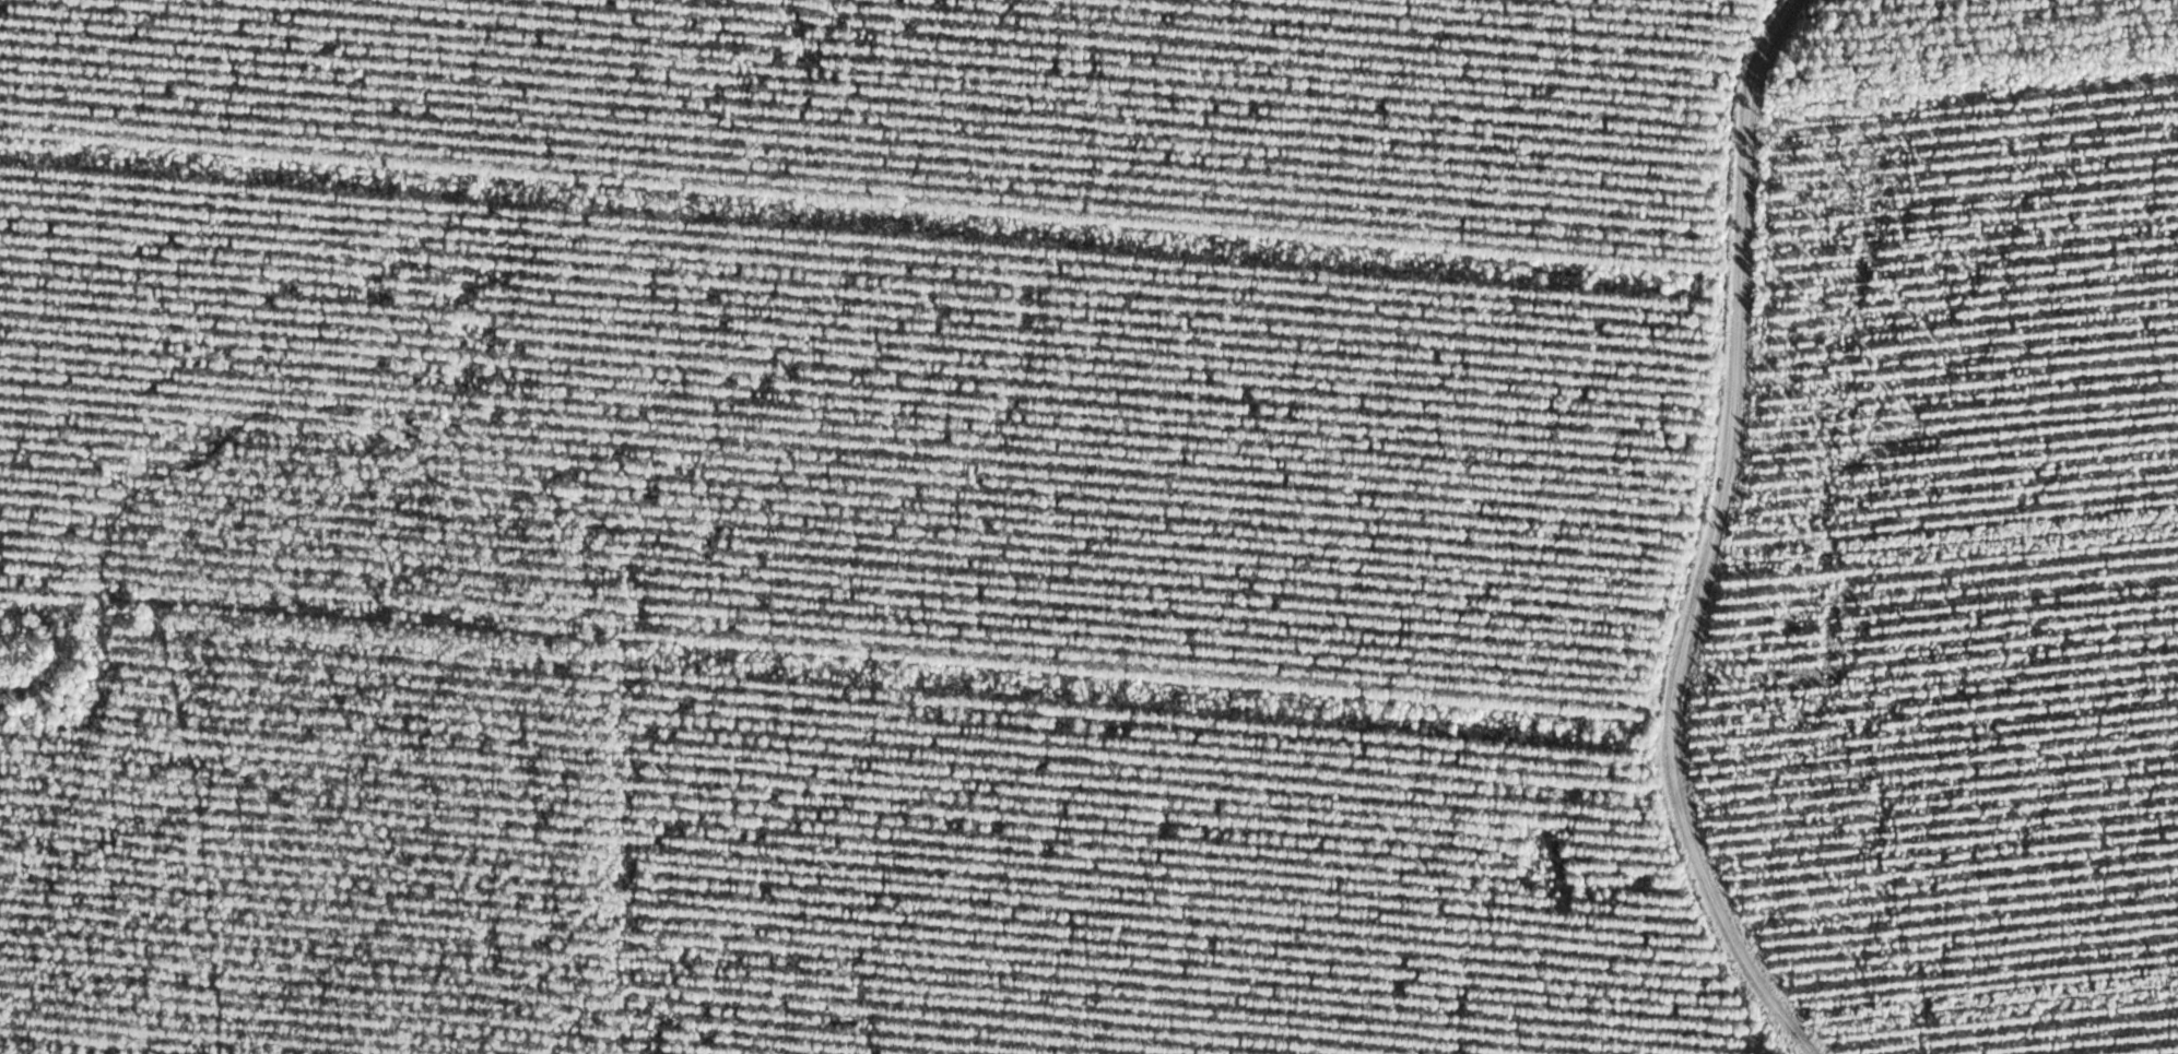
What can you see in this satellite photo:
road: (1679, 540)

